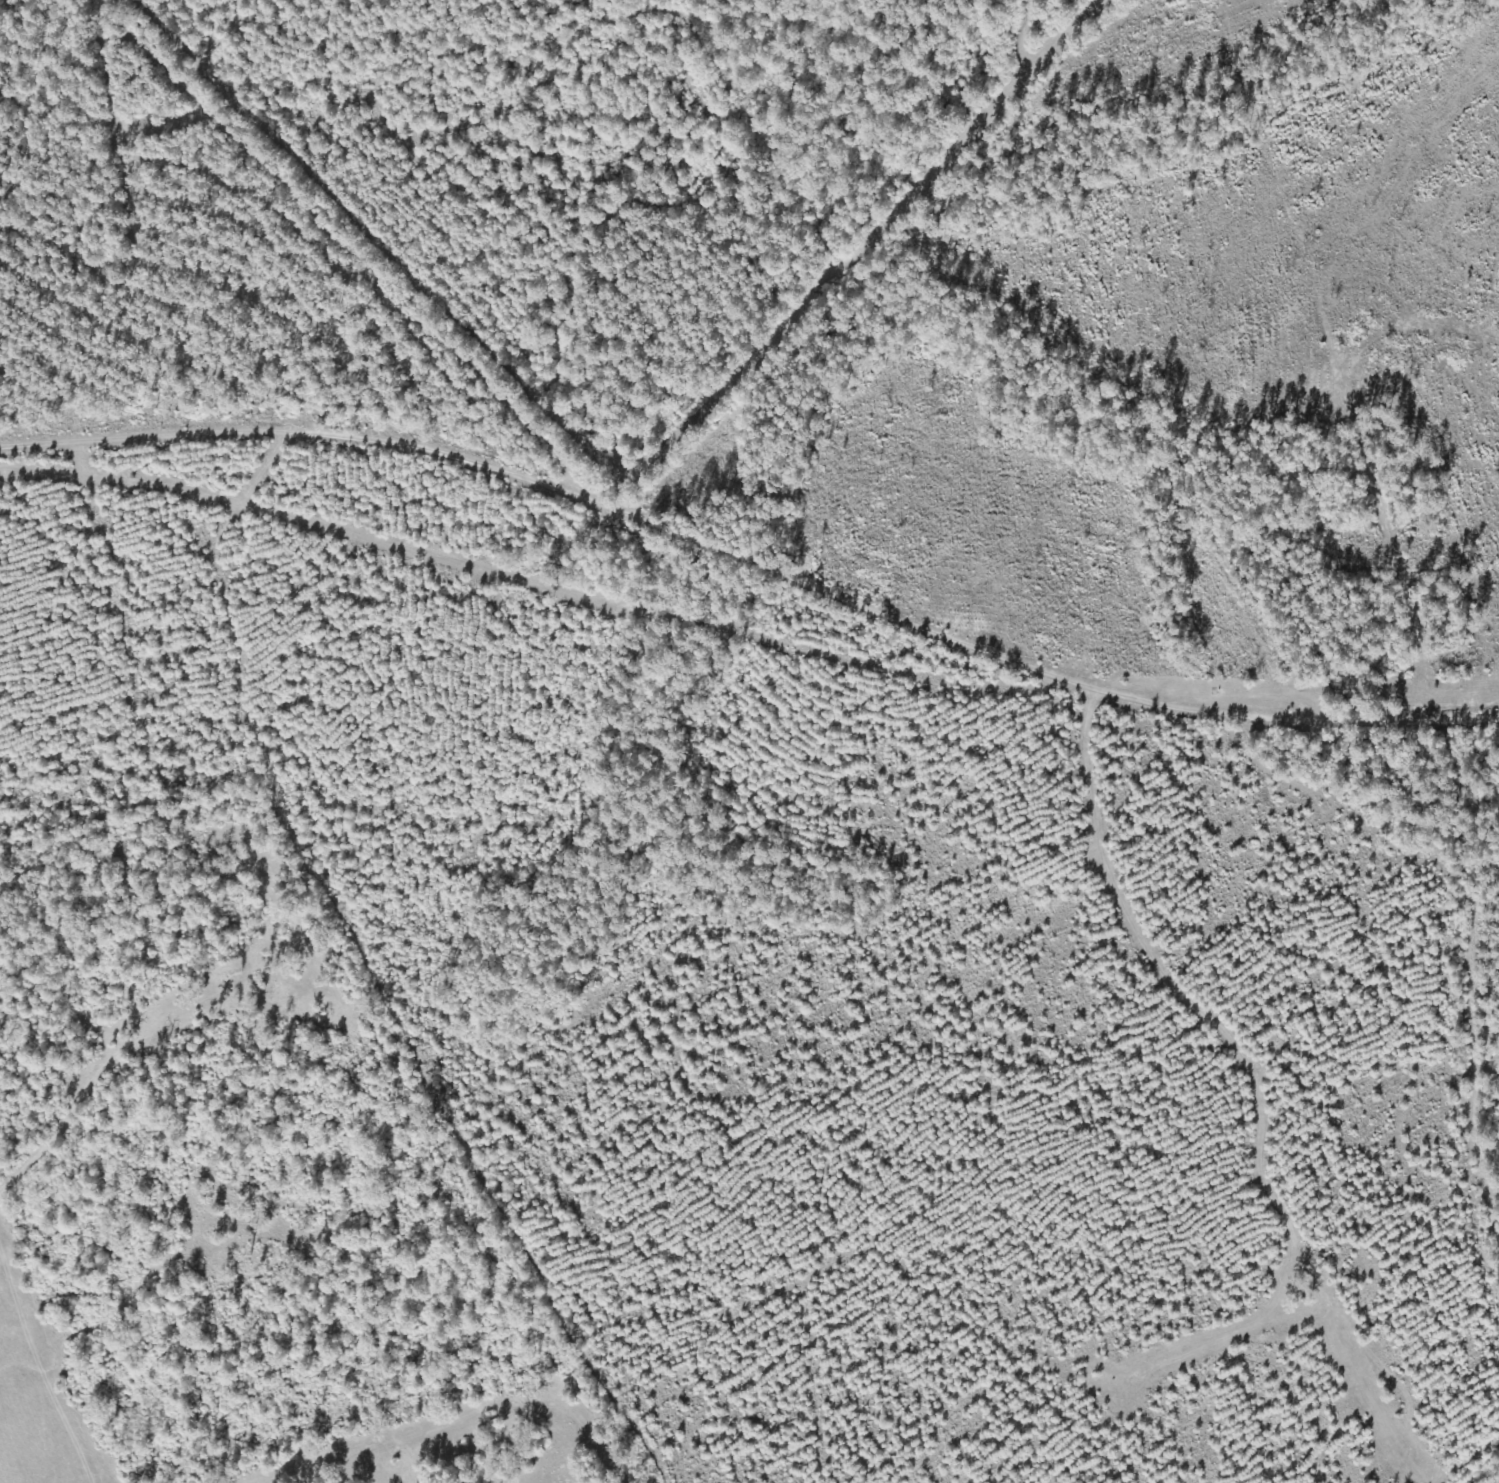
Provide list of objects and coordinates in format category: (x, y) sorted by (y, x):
road: (753, 548)

